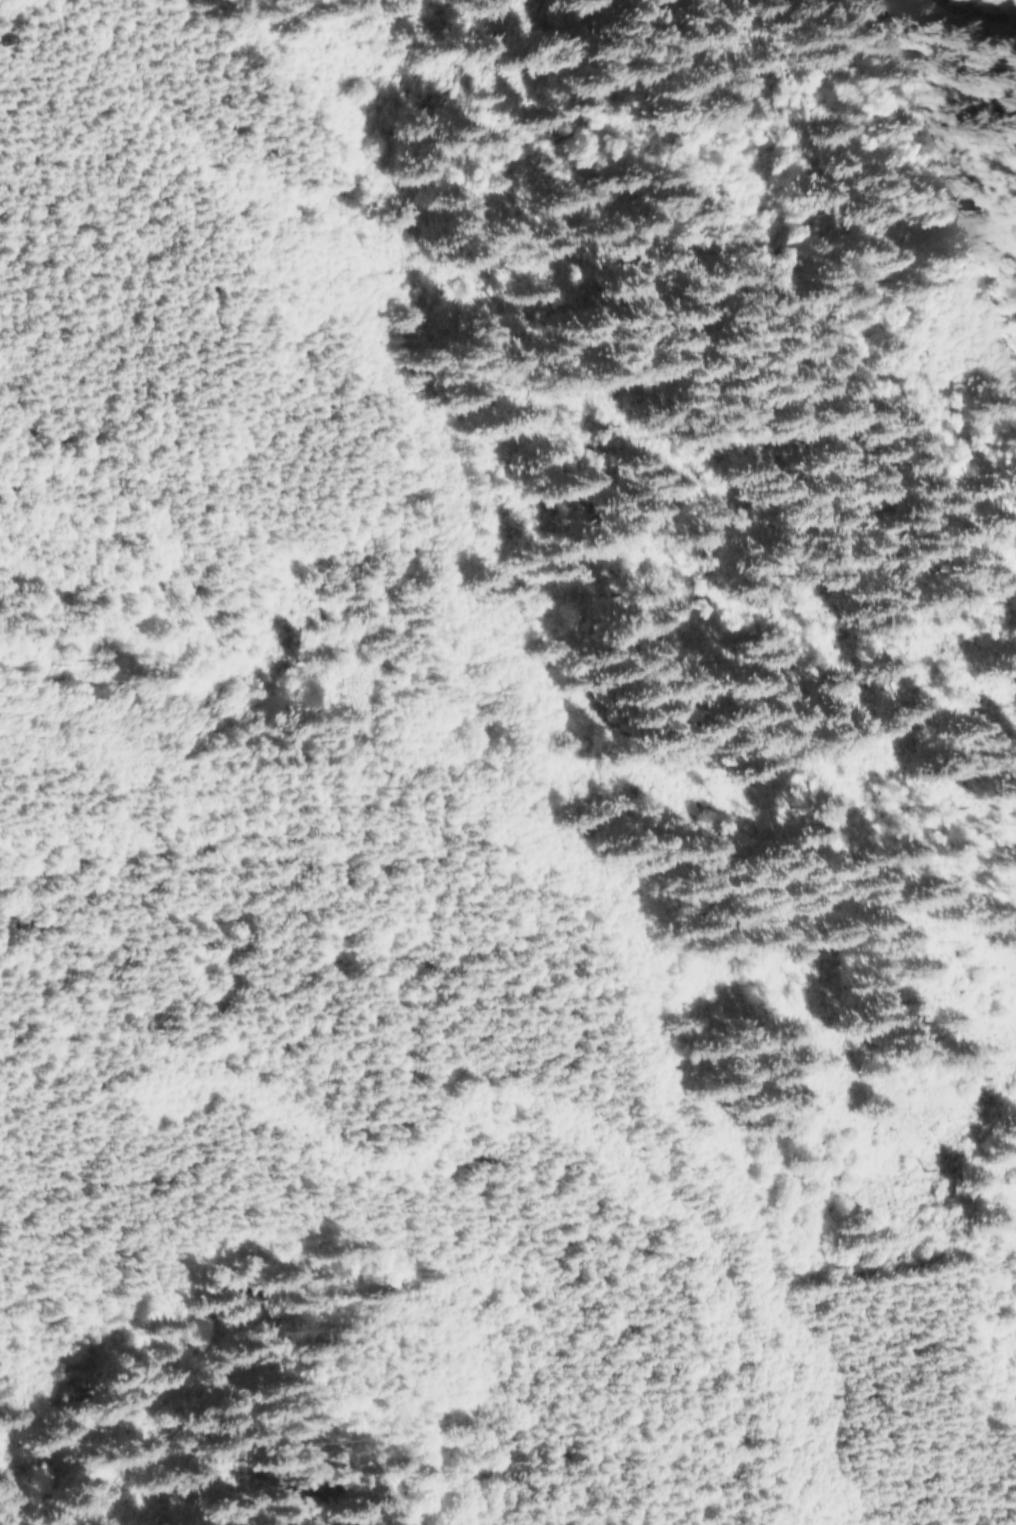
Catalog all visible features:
road: (808, 613)

